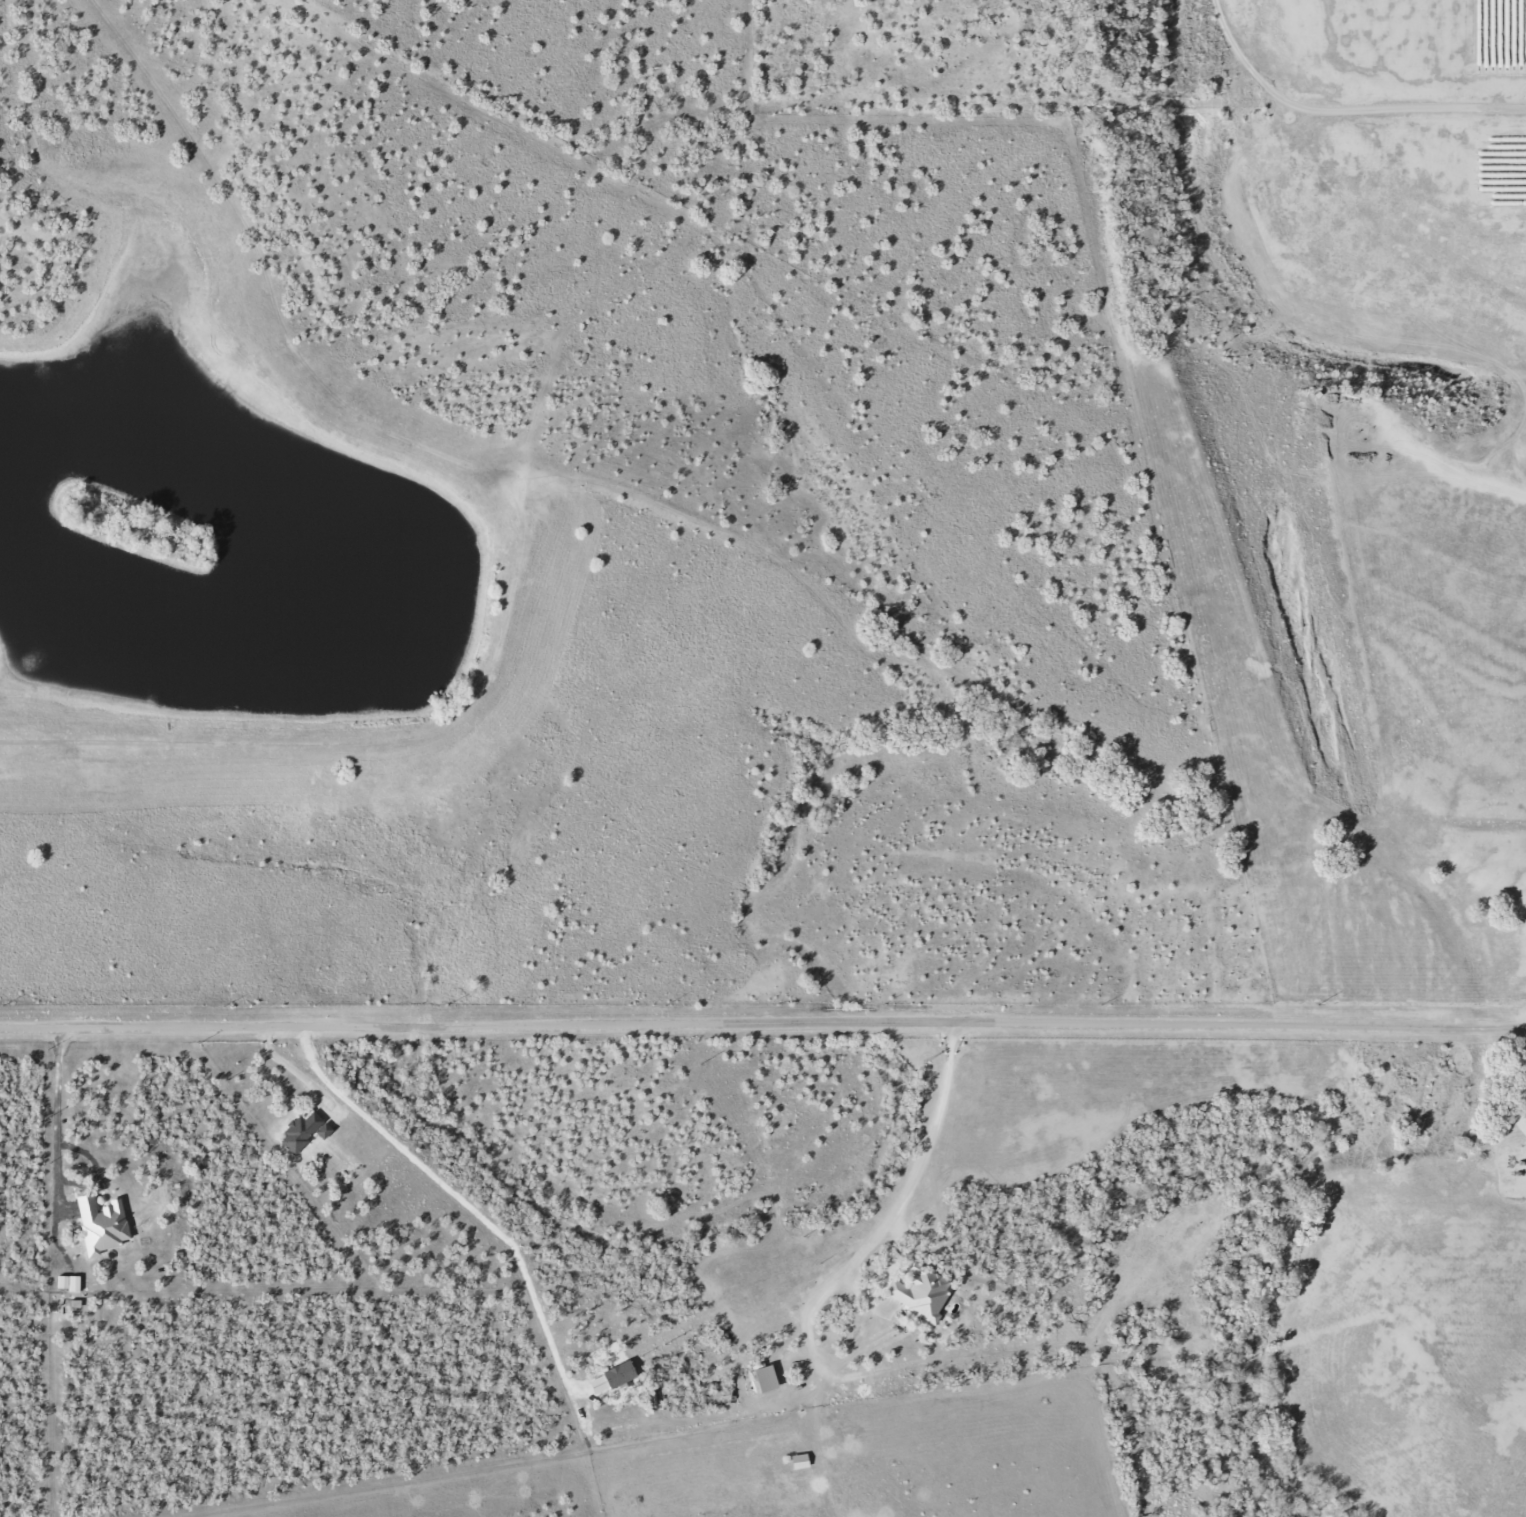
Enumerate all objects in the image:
road: (1341, 109)
dam: (267, 749)
road: (763, 1023)
building: (307, 1130)

